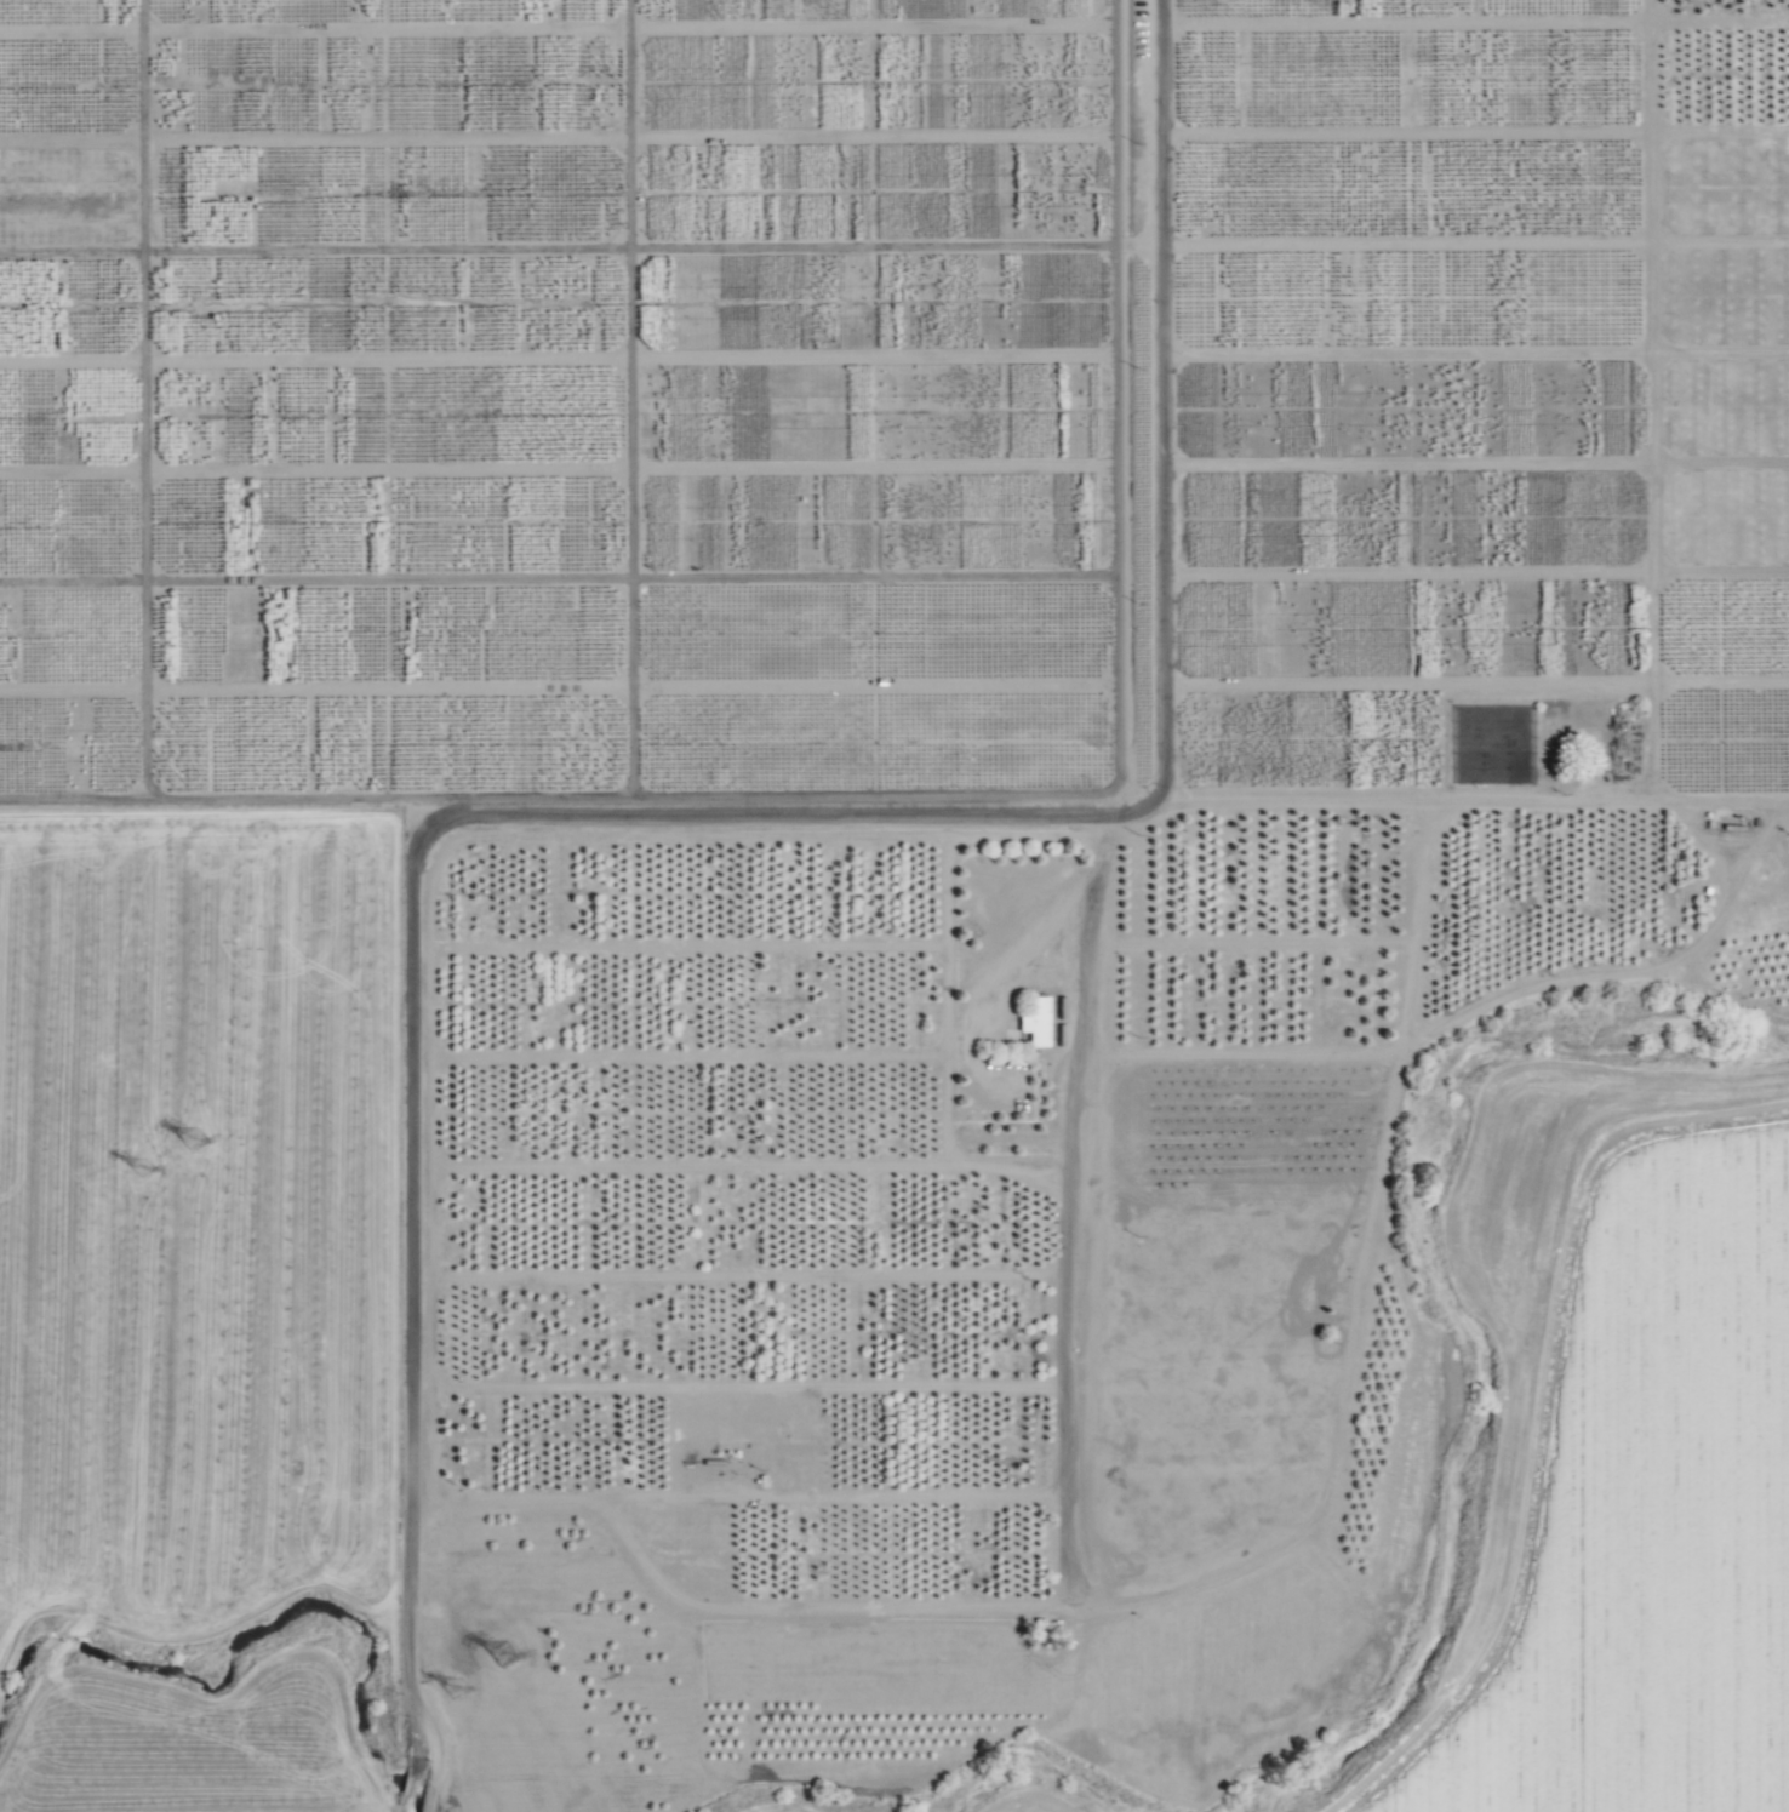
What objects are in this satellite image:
building: (1590, 744)
road: (631, 819)
road: (1054, 905)
building: (1034, 1022)
power tower: (184, 1138)
power tower: (136, 1168)
power tower: (501, 1652)
power tower: (456, 1687)
road: (408, 1787)
road: (404, 1806)

